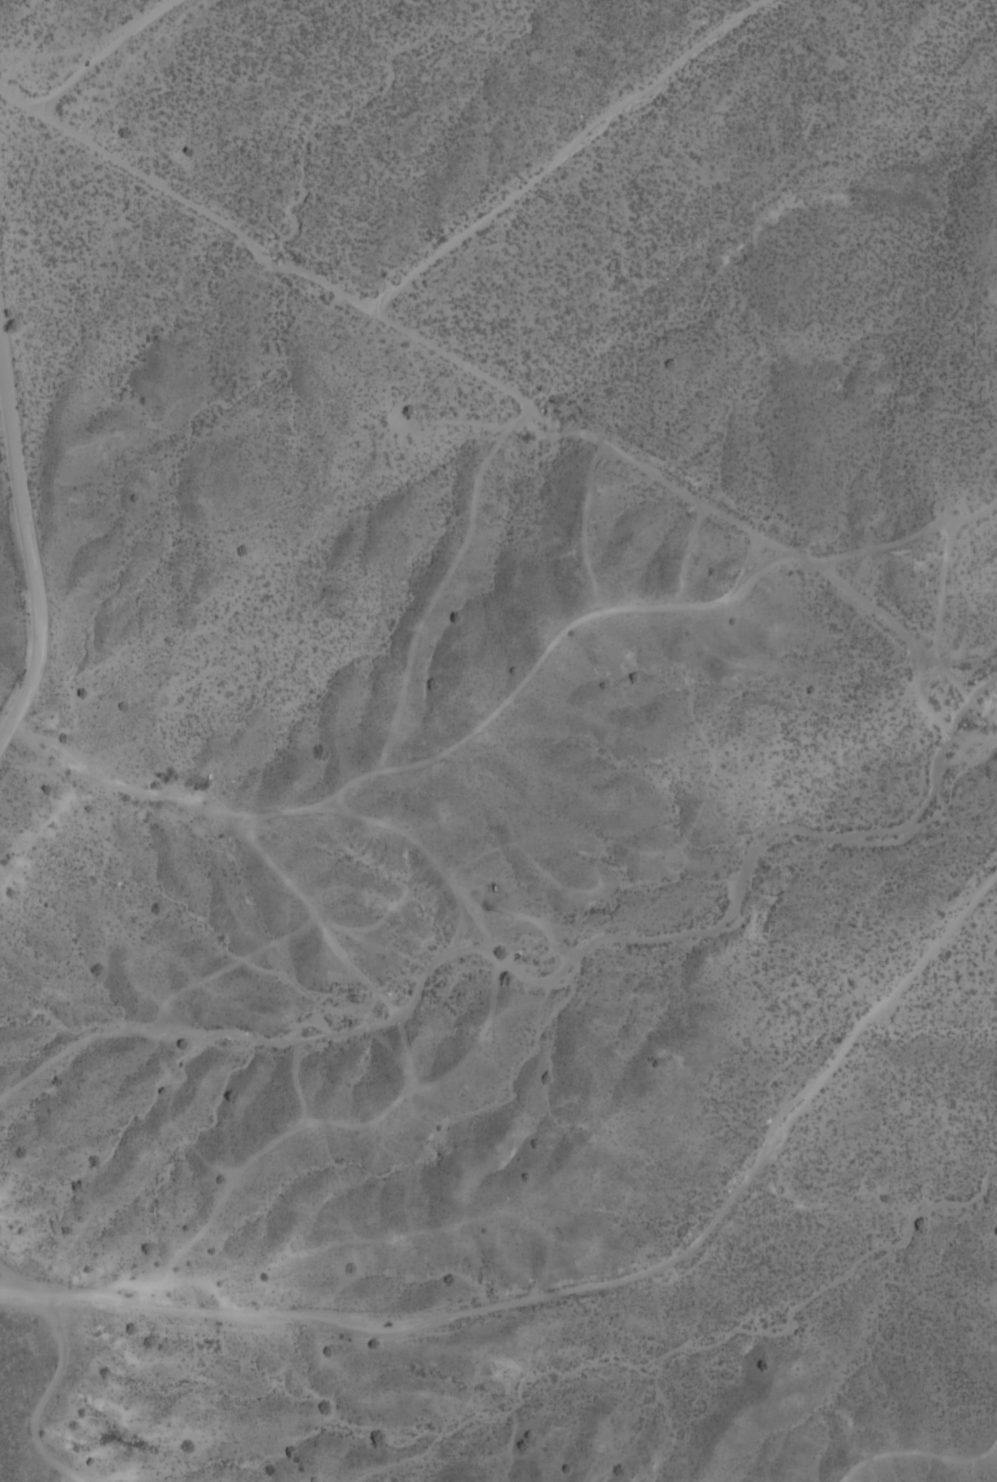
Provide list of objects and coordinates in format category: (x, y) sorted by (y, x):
road: (101, 52)
road: (566, 152)
road: (505, 388)
road: (28, 552)
road: (65, 757)
road: (588, 1285)

